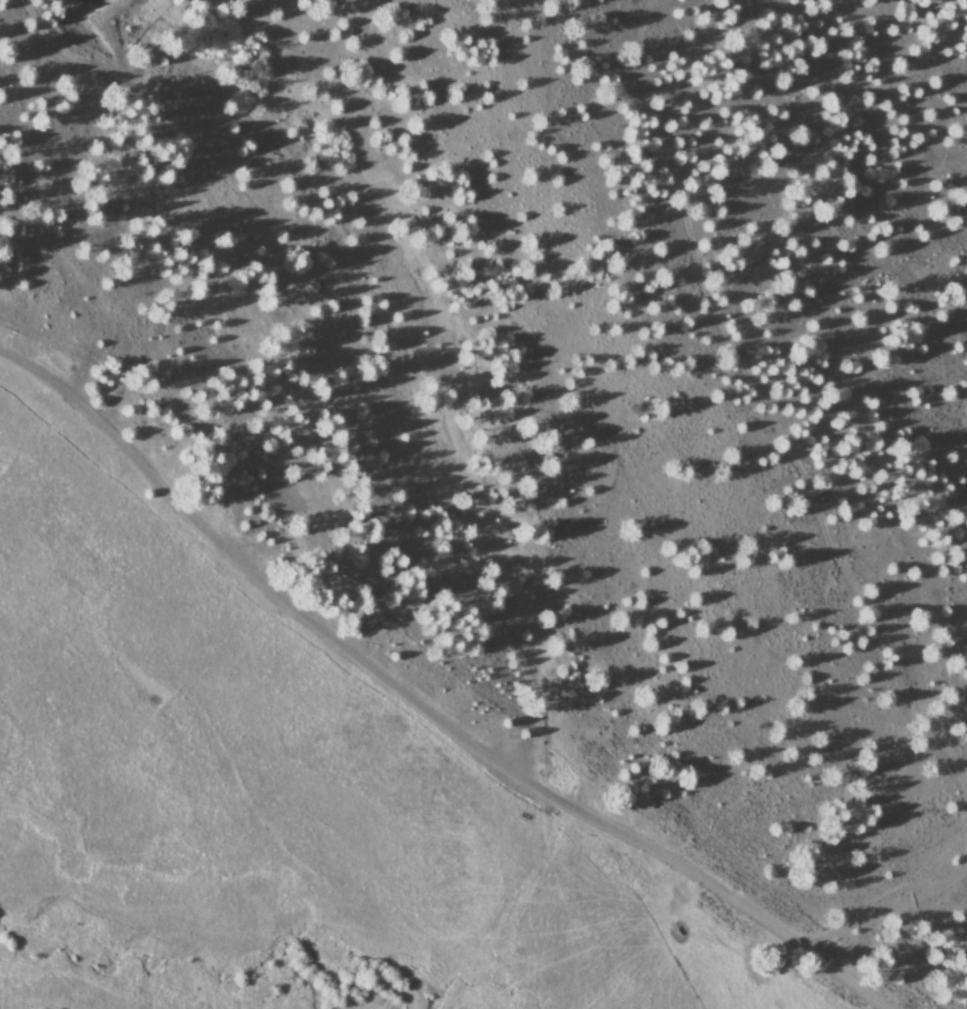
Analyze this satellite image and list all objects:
road: (453, 328)
road: (426, 546)
road: (443, 710)

